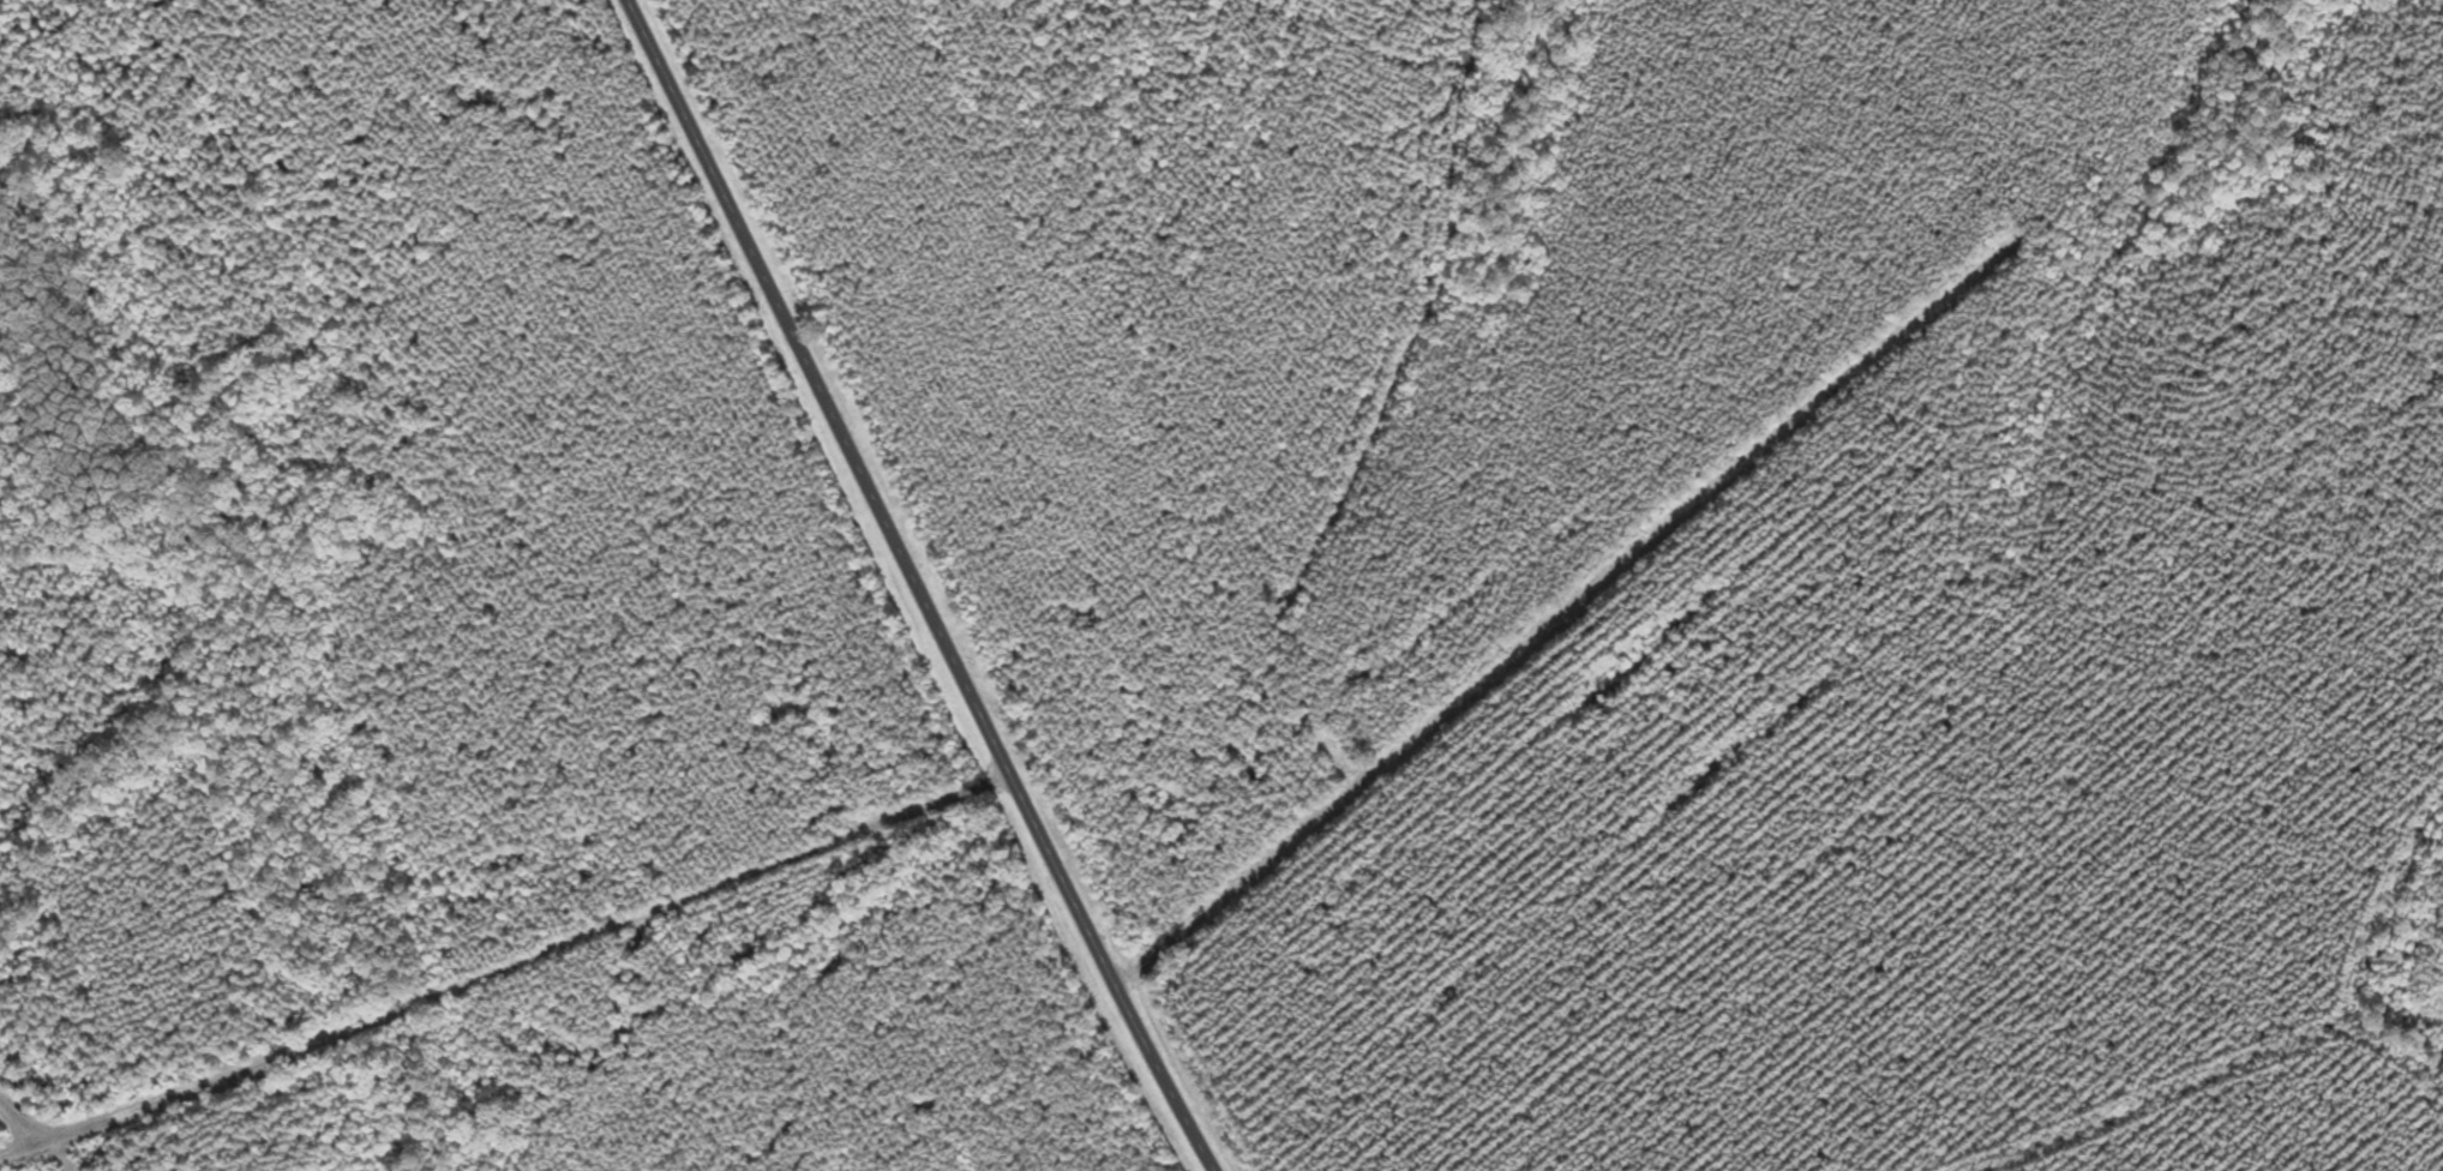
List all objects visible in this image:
road: (918, 587)
road: (1536, 638)
road: (505, 968)
road: (26, 1109)

